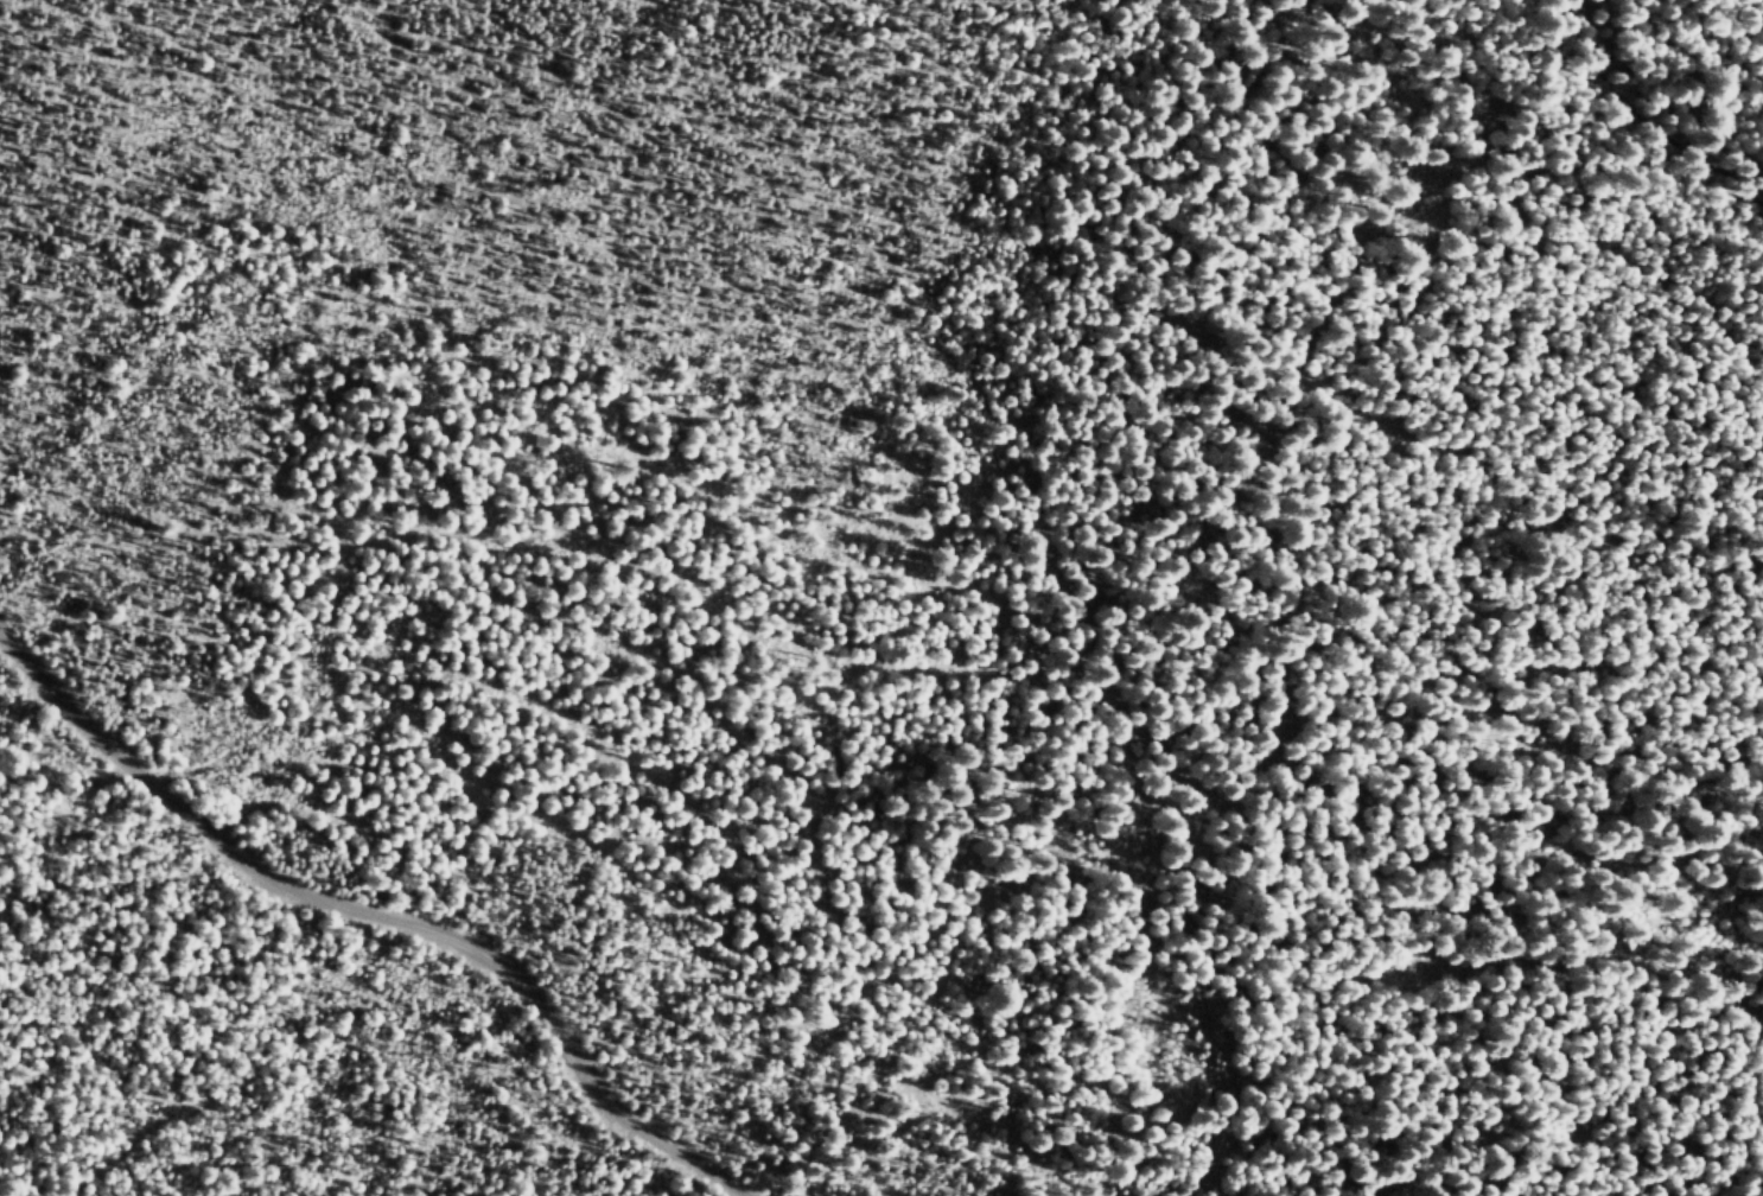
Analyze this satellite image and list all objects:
road: (375, 914)

